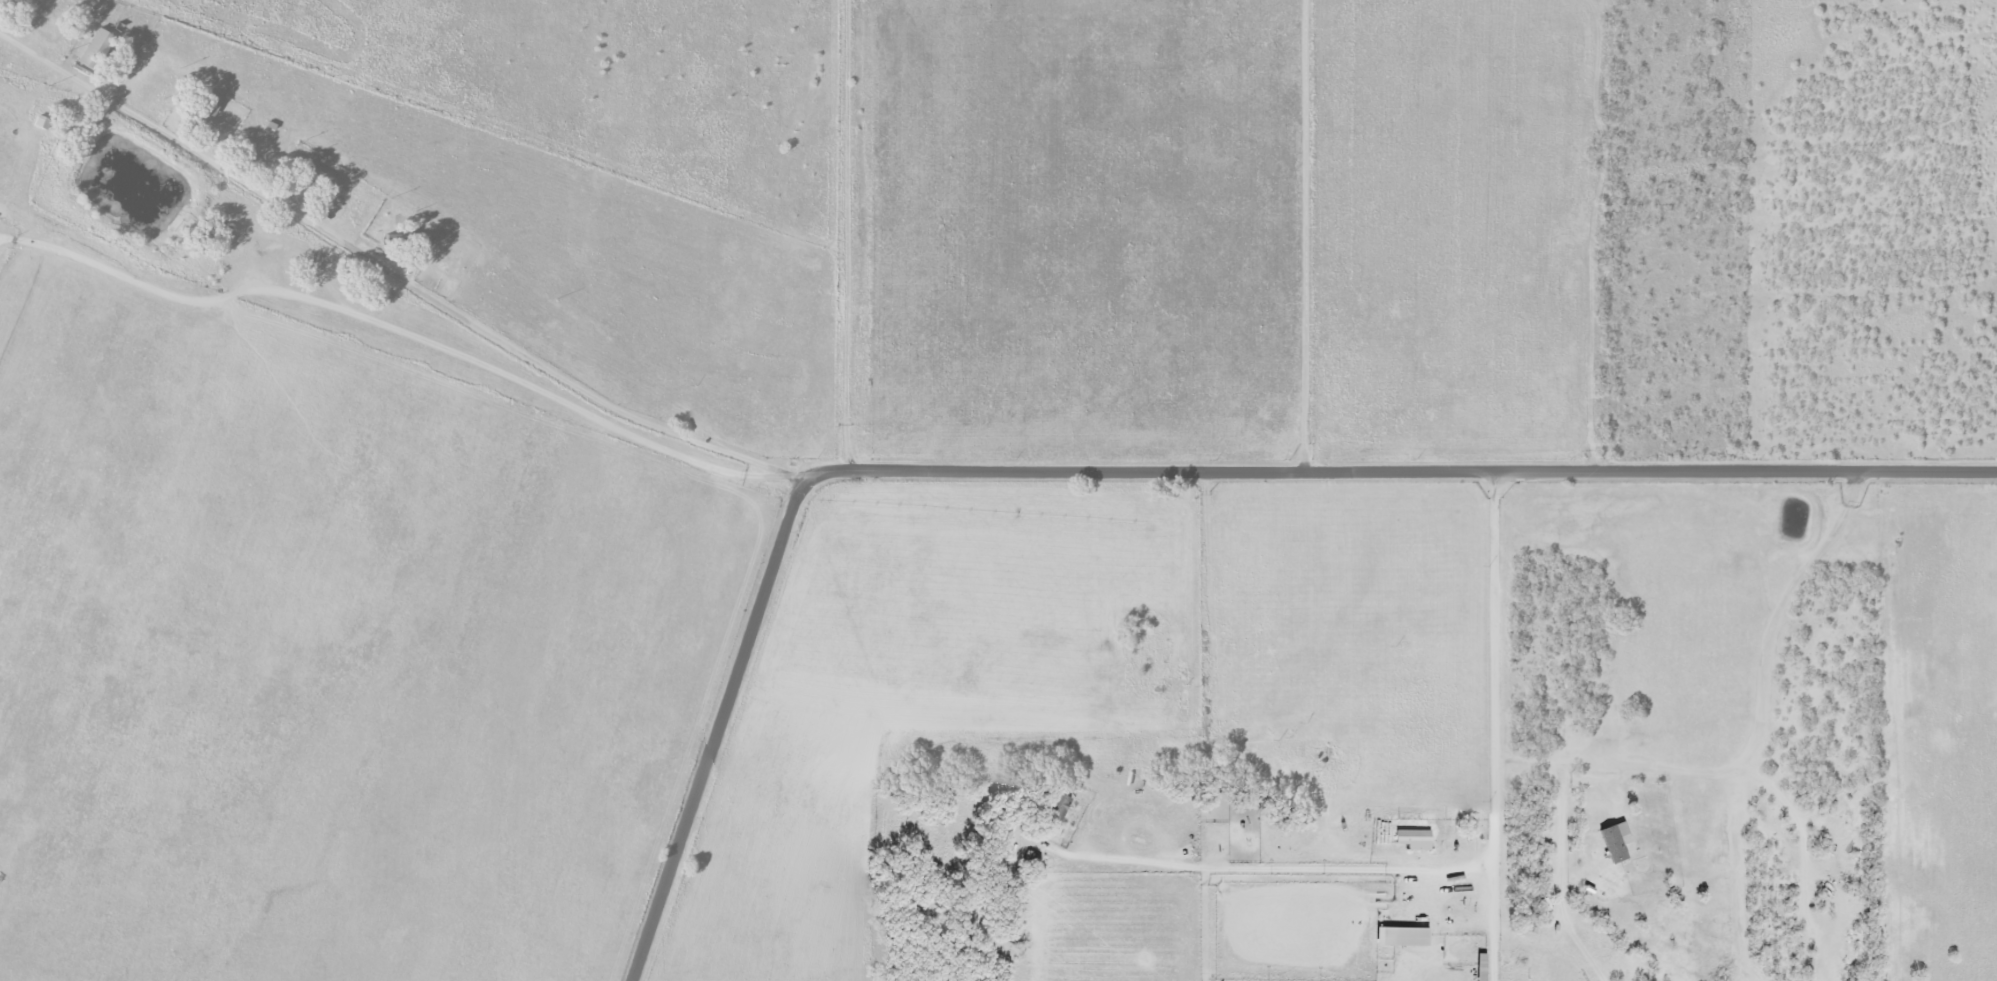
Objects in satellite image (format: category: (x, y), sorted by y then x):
building: (96, 50)
power tower: (1995, 123)
road: (1303, 236)
road: (388, 282)
road: (391, 329)
road: (1134, 470)
road: (1759, 705)
road: (1498, 724)
building: (1412, 839)
building: (1614, 841)
road: (1560, 850)
road: (1223, 867)
road: (1449, 870)
building: (1400, 936)

